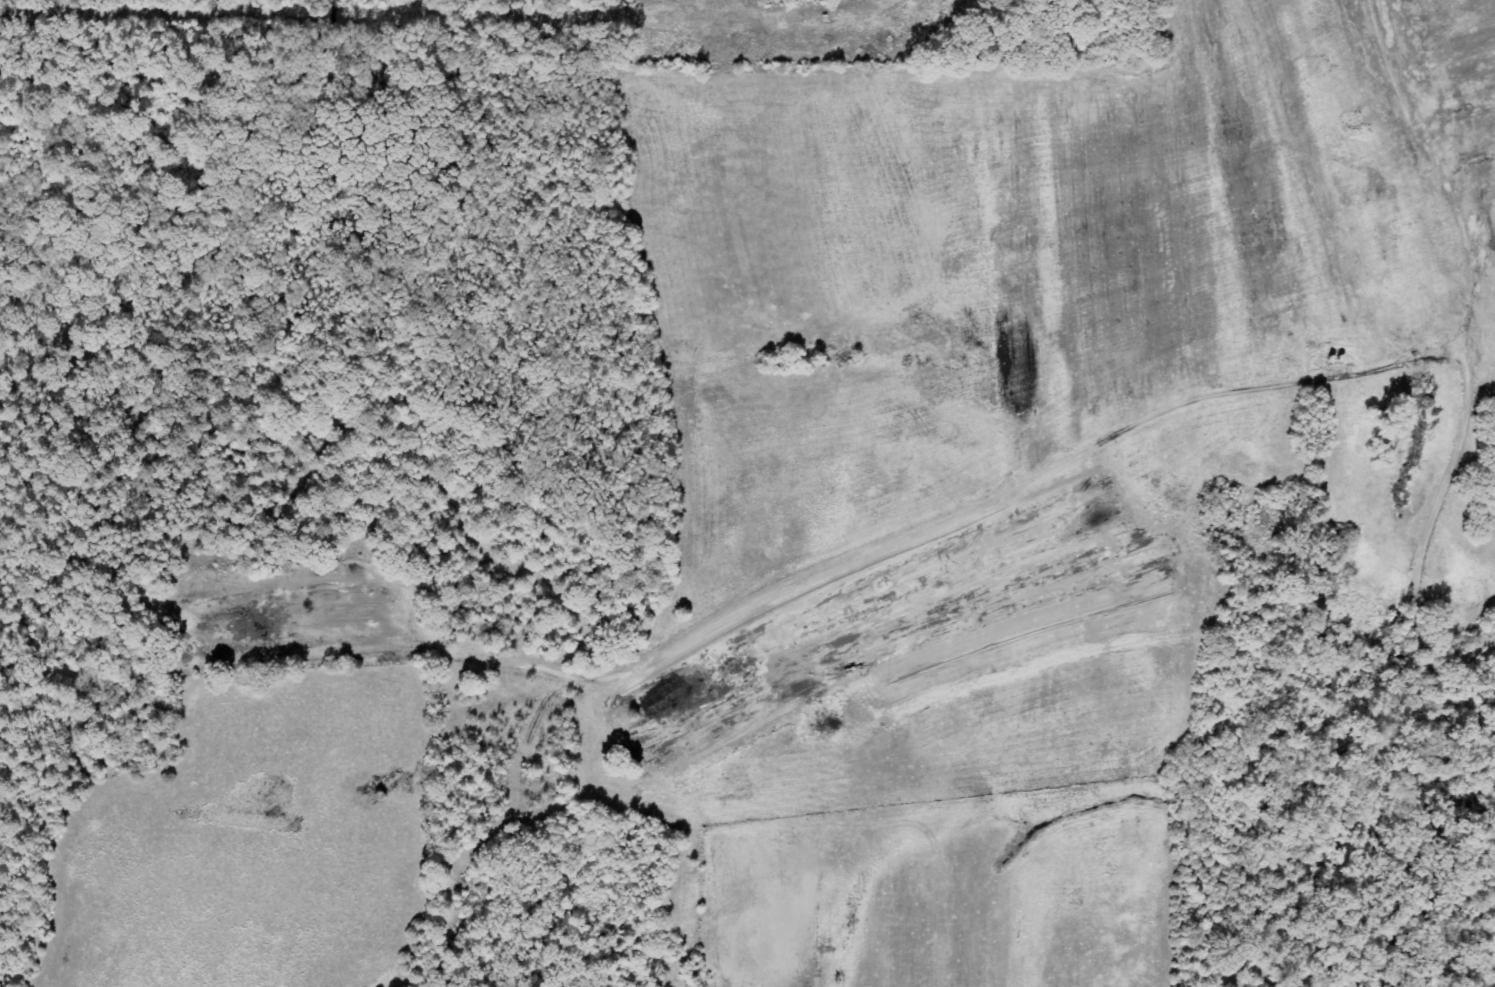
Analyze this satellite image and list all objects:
airport: (949, 893)

